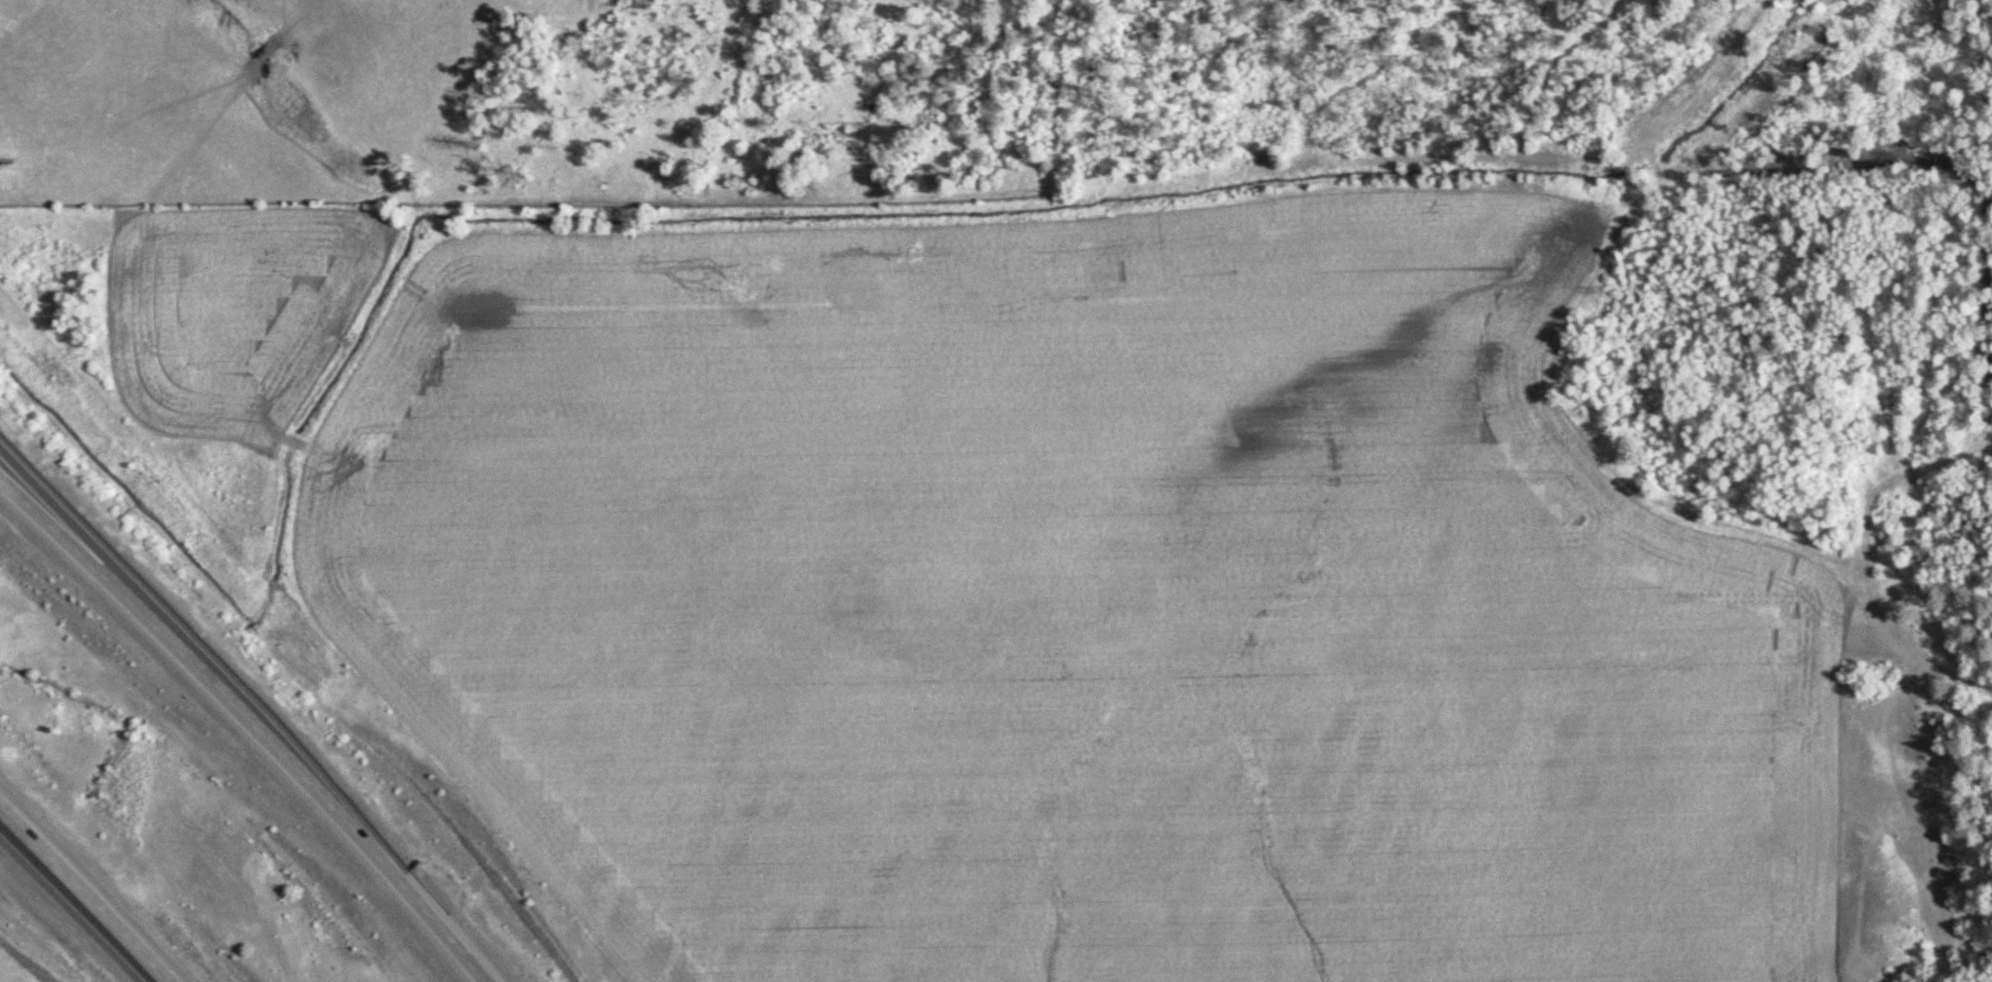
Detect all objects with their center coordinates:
road: (52, 494)
road: (257, 713)
road: (85, 887)
road: (83, 913)

